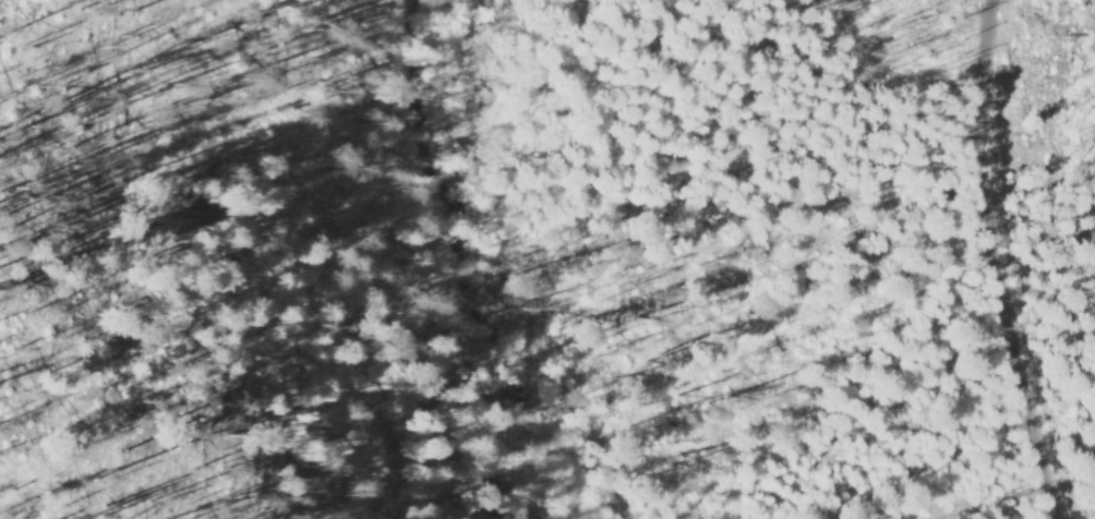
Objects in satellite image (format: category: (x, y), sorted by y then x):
road: (1003, 262)

